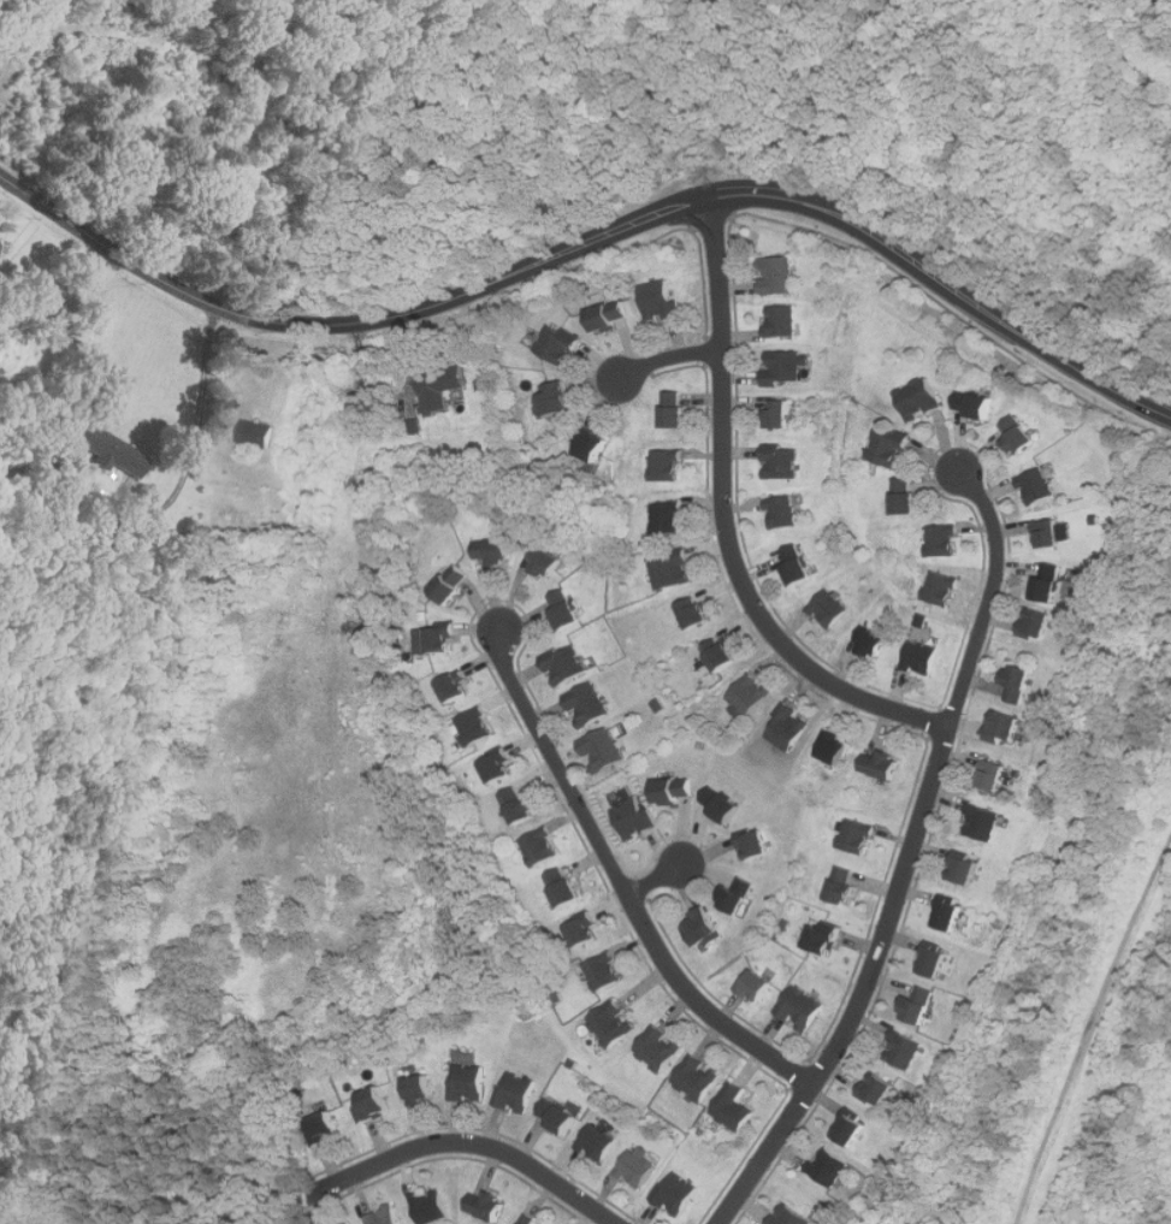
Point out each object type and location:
road: (595, 236)
building: (0, 244)
building: (780, 276)
building: (662, 301)
building: (61, 306)
building: (607, 315)
building: (783, 320)
building: (558, 347)
road: (668, 359)
building: (786, 368)
building: (442, 389)
building: (921, 400)
building: (558, 401)
building: (976, 406)
road: (200, 410)
building: (678, 410)
building: (781, 415)
building: (259, 434)
building: (1019, 436)
building: (592, 445)
building: (891, 448)
building: (112, 453)
building: (783, 465)
building: (668, 466)
building: (1039, 486)
building: (907, 497)
building: (785, 513)
building: (669, 519)
road: (723, 520)
building: (1052, 534)
building: (945, 542)
building: (493, 551)
building: (548, 560)
building: (799, 567)
building: (674, 572)
building: (1051, 583)
building: (453, 586)
building: (942, 589)
building: (832, 608)
building: (567, 610)
building: (697, 614)
building: (1040, 623)
building: (443, 641)
building: (876, 643)
building: (722, 655)
building: (922, 657)
building: (568, 666)
building: (1022, 684)
building: (455, 687)
building: (751, 694)
building: (590, 704)
building: (477, 726)
building: (788, 727)
building: (1009, 727)
building: (836, 747)
building: (605, 750)
building: (886, 764)
building: (502, 767)
building: (995, 775)
building: (675, 790)
building: (521, 804)
building: (723, 804)
building: (637, 818)
building: (984, 823)
building: (858, 836)
building: (758, 845)
building: (542, 847)
road: (907, 862)
building: (966, 870)
road: (619, 881)
road: (655, 881)
building: (844, 886)
building: (567, 887)
building: (741, 894)
building: (952, 916)
building: (708, 928)
building: (587, 932)
building: (824, 939)
building: (936, 962)
building: (607, 972)
building: (757, 986)
building: (921, 1005)
building: (803, 1009)
building: (615, 1023)
building: (660, 1048)
building: (904, 1049)
building: (698, 1077)
building: (469, 1082)
building: (421, 1088)
building: (879, 1089)
building: (518, 1092)
building: (374, 1102)
building: (734, 1107)
building: (558, 1117)
building: (325, 1127)
building: (851, 1129)
building: (599, 1142)
road: (467, 1143)
building: (829, 1166)
building: (638, 1169)
building: (678, 1193)
building: (489, 1205)
building: (432, 1206)
building: (791, 1216)
building: (385, 1217)
building: (528, 1220)

